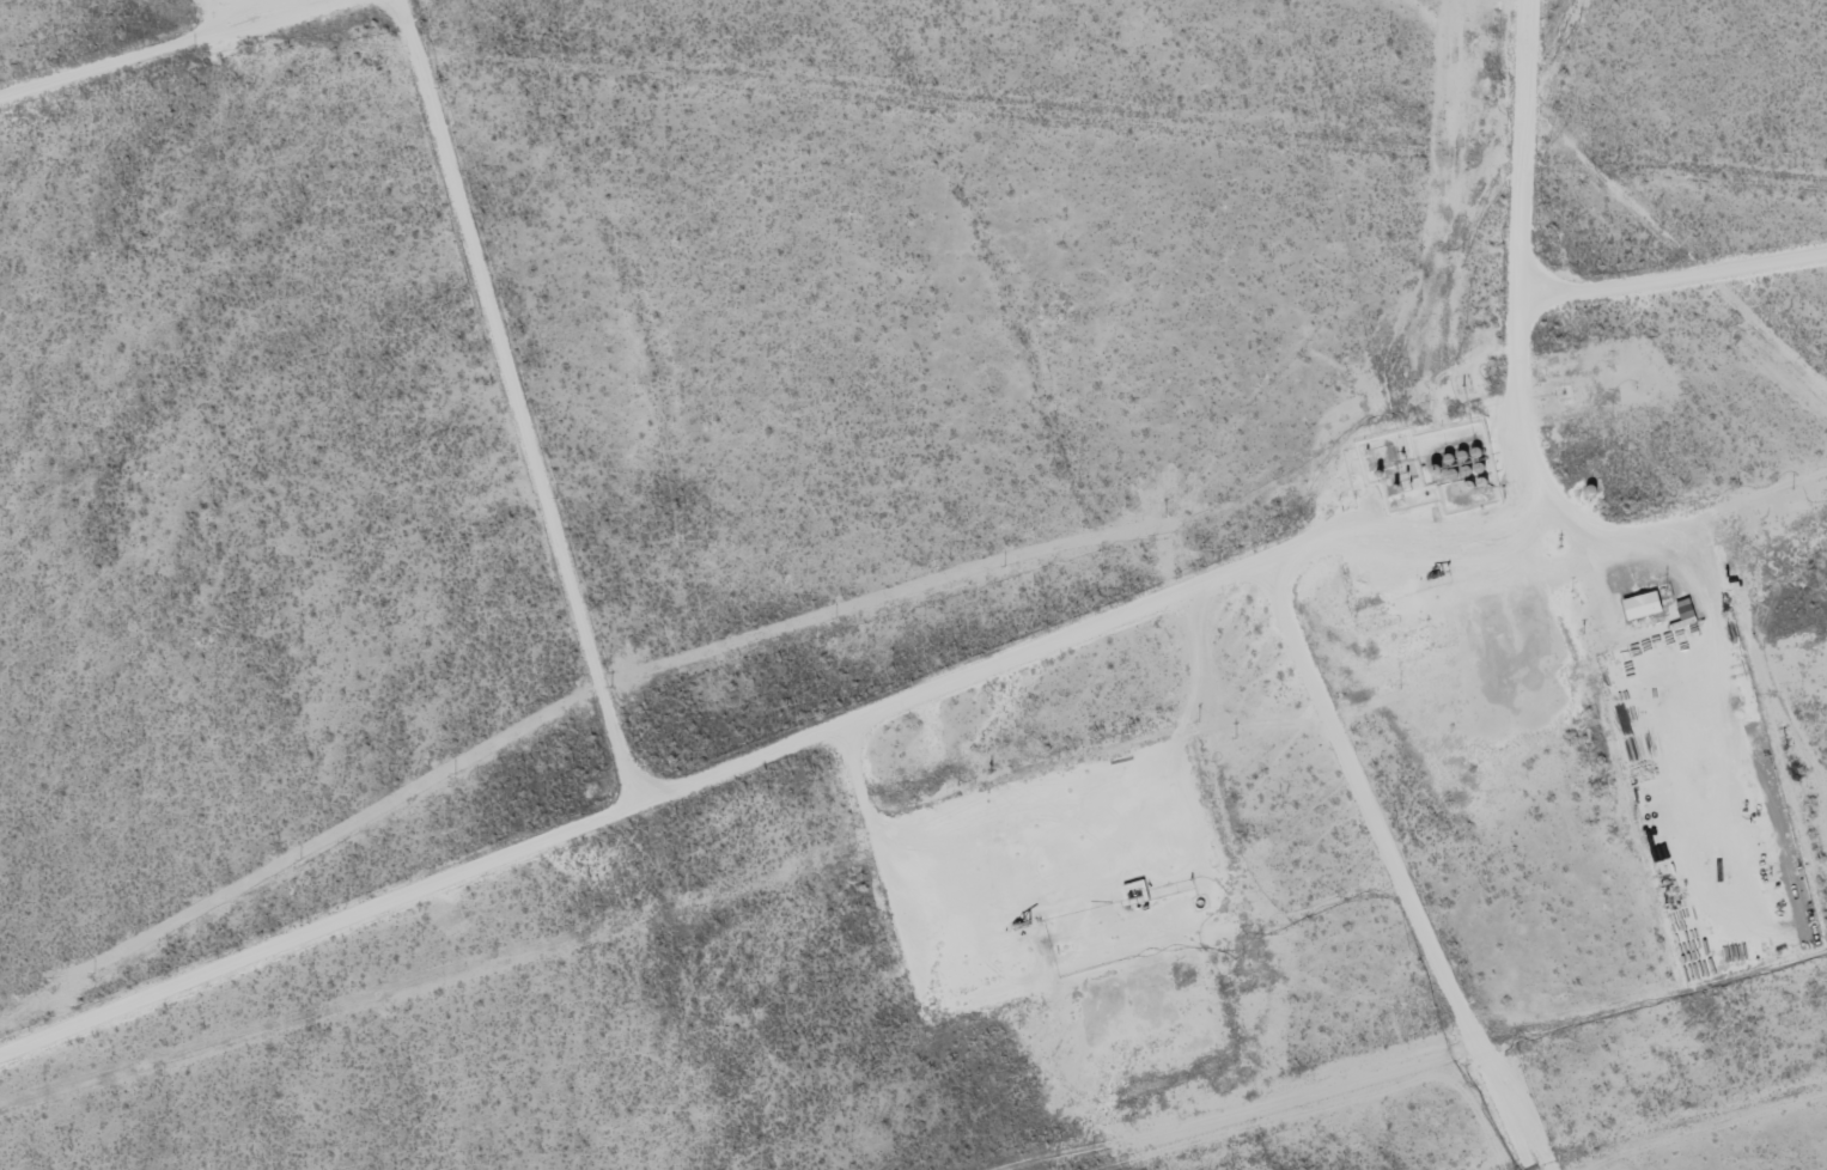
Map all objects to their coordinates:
road: (146, 48)
road: (1328, 549)
petroleum well: (1432, 574)
building: (1644, 605)
road: (609, 715)
petroleum well: (1013, 918)
road: (317, 924)

